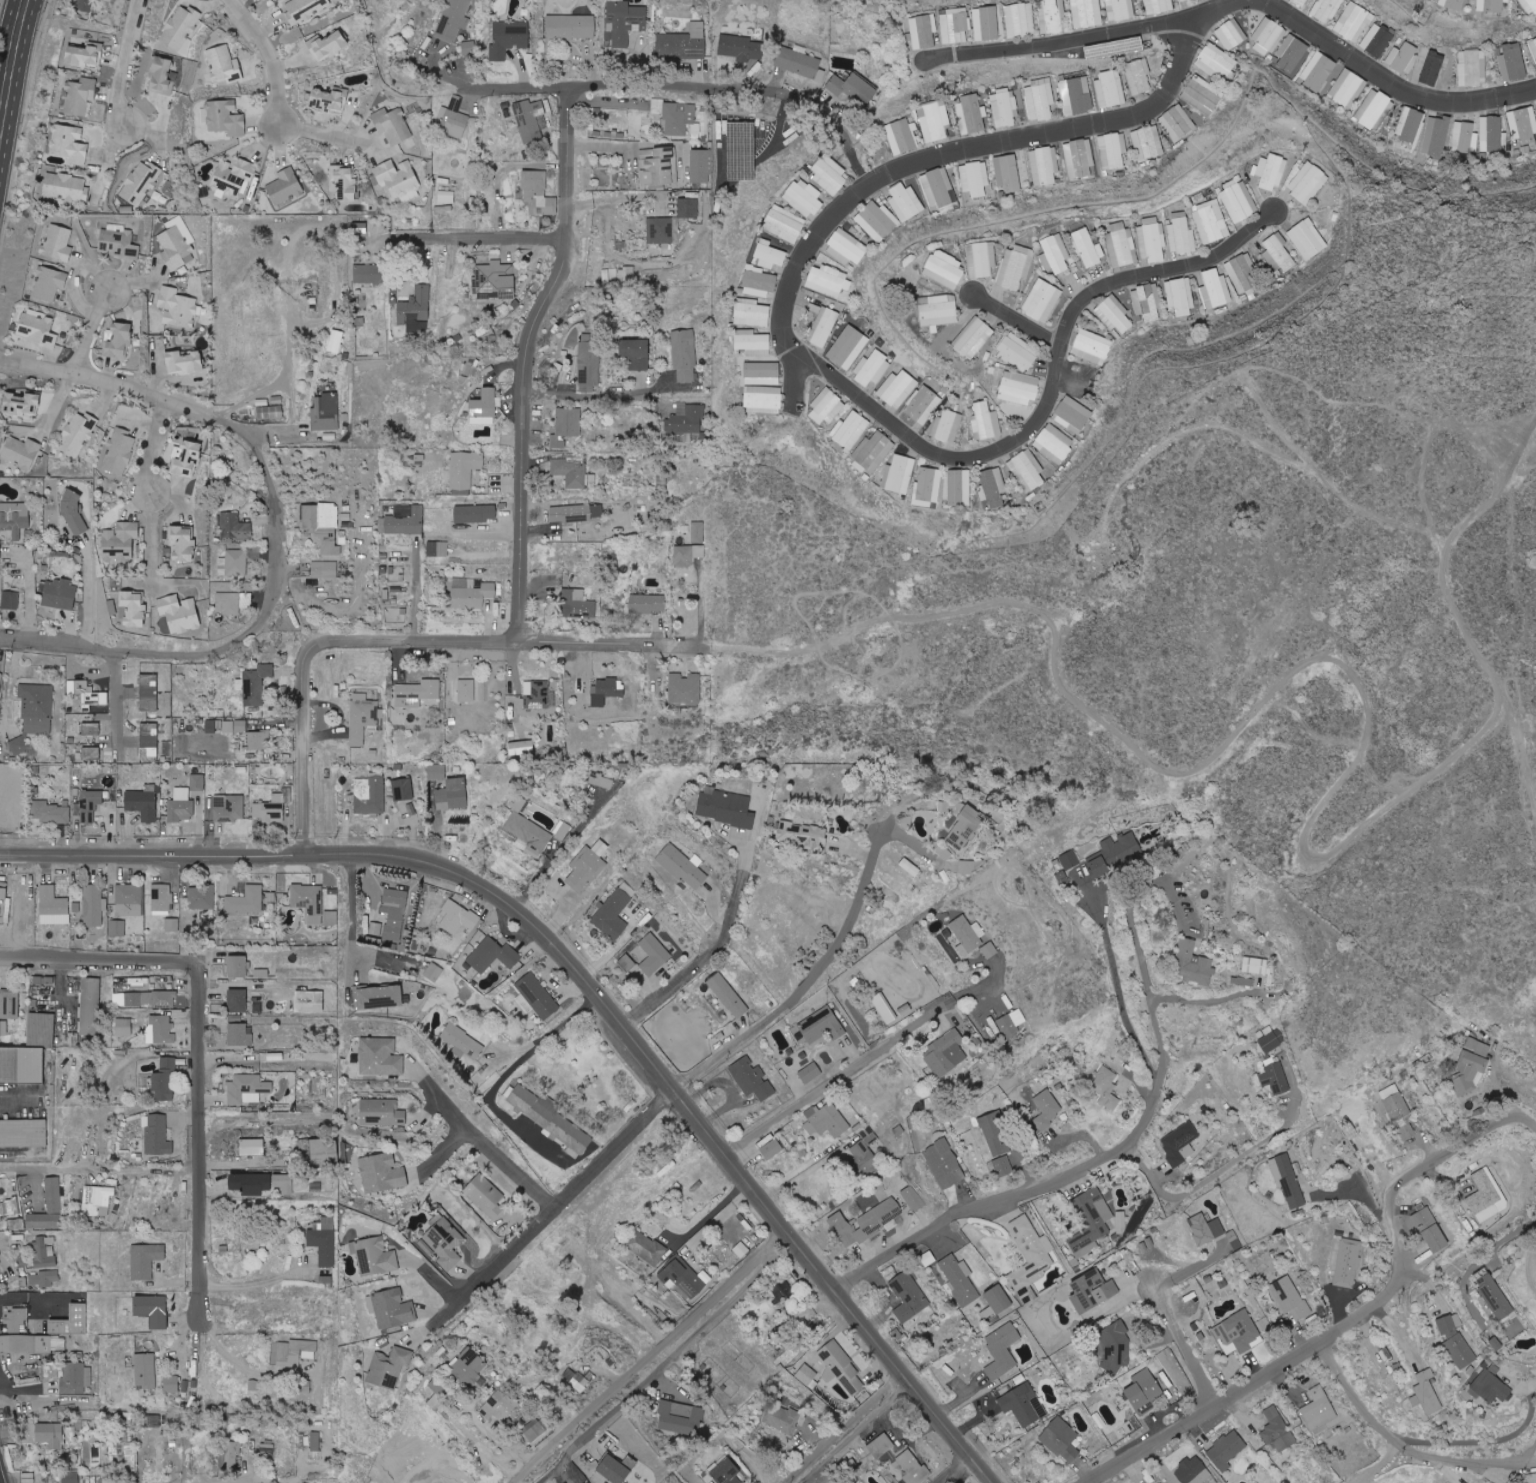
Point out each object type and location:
building: (1180, 0)
building: (1451, 4)
building: (83, 5)
building: (1160, 5)
road: (1238, 6)
building: (1491, 6)
building: (1529, 7)
building: (304, 9)
building: (1121, 9)
building: (1327, 9)
building: (1087, 13)
building: (1053, 16)
building: (454, 19)
building: (1021, 20)
building: (626, 21)
building: (1354, 22)
building: (989, 25)
building: (571, 26)
building: (955, 26)
building: (181, 28)
road: (9, 29)
building: (924, 31)
building: (1231, 34)
building: (1267, 36)
building: (509, 38)
building: (1378, 40)
building: (683, 42)
building: (328, 45)
building: (424, 47)
building: (740, 47)
building: (1533, 47)
building: (469, 48)
building: (1291, 53)
building: (85, 54)
road: (270, 57)
building: (1404, 57)
building: (1215, 61)
building: (1513, 62)
road: (11, 64)
building: (800, 64)
building: (224, 65)
building: (1432, 66)
road: (126, 67)
building: (1473, 68)
building: (1318, 71)
building: (162, 75)
building: (1138, 76)
building: (854, 88)
building: (1110, 88)
building: (1347, 88)
building: (79, 95)
building: (1202, 95)
building: (1077, 96)
road: (650, 98)
building: (329, 99)
building: (1041, 99)
building: (1005, 107)
building: (1374, 110)
building: (972, 114)
building: (674, 116)
building: (226, 118)
building: (453, 118)
building: (529, 118)
building: (935, 120)
building: (1178, 122)
building: (393, 125)
building: (1523, 125)
building: (1491, 134)
road: (327, 135)
building: (903, 136)
building: (1464, 137)
building: (1148, 142)
building: (69, 144)
building: (1112, 150)
building: (742, 151)
building: (1079, 158)
road: (932, 159)
building: (1046, 165)
building: (657, 166)
building: (700, 166)
building: (1272, 172)
building: (1007, 173)
building: (830, 176)
building: (234, 177)
building: (975, 178)
building: (399, 180)
building: (345, 181)
building: (141, 183)
building: (1308, 183)
building: (285, 186)
building: (66, 187)
building: (938, 188)
building: (539, 193)
building: (446, 196)
building: (804, 197)
building: (1239, 201)
building: (905, 202)
building: (688, 208)
building: (446, 210)
building: (877, 221)
building: (1211, 222)
building: (785, 223)
building: (359, 227)
building: (660, 230)
building: (1181, 234)
road: (474, 236)
building: (1308, 239)
building: (118, 242)
building: (58, 243)
building: (177, 243)
building: (848, 245)
building: (1122, 245)
building: (1089, 247)
building: (1055, 253)
building: (770, 254)
building: (1278, 254)
building: (981, 259)
building: (1015, 267)
building: (945, 269)
building: (1242, 273)
building: (368, 274)
building: (495, 280)
building: (828, 281)
building: (760, 282)
building: (49, 283)
building: (1214, 289)
building: (1180, 296)
building: (1042, 300)
building: (1147, 302)
building: (177, 307)
building: (415, 309)
building: (939, 311)
building: (752, 313)
building: (1114, 315)
road: (1018, 319)
building: (824, 326)
building: (38, 328)
road: (97, 333)
building: (974, 338)
building: (119, 340)
building: (337, 340)
building: (753, 343)
building: (848, 347)
building: (1091, 347)
building: (1017, 351)
building: (637, 353)
building: (684, 356)
building: (185, 362)
road: (527, 363)
building: (588, 364)
building: (871, 369)
building: (898, 388)
building: (1019, 388)
road: (1051, 392)
road: (591, 396)
building: (763, 399)
building: (22, 404)
building: (923, 405)
building: (826, 406)
building: (485, 407)
building: (268, 409)
building: (326, 411)
building: (1072, 415)
building: (686, 421)
building: (985, 422)
building: (566, 425)
building: (947, 425)
building: (851, 430)
building: (77, 434)
building: (1054, 443)
road: (152, 445)
building: (119, 451)
building: (22, 452)
building: (872, 452)
building: (188, 458)
building: (464, 468)
building: (1027, 468)
building: (571, 472)
building: (898, 474)
building: (927, 486)
building: (993, 488)
building: (576, 513)
building: (476, 514)
building: (14, 518)
building: (346, 520)
building: (403, 520)
building: (322, 525)
building: (235, 527)
building: (697, 532)
road: (275, 534)
road: (150, 540)
building: (121, 541)
building: (183, 543)
building: (438, 549)
building: (0, 551)
building: (688, 555)
building: (234, 563)
building: (324, 570)
road: (415, 593)
building: (470, 593)
building: (60, 594)
road: (87, 594)
building: (10, 600)
building: (233, 602)
building: (647, 603)
building: (577, 604)
building: (112, 607)
road: (700, 607)
building: (135, 609)
building: (179, 613)
road: (1004, 623)
building: (0, 682)
building: (256, 684)
building: (686, 689)
building: (466, 690)
building: (607, 690)
building: (149, 692)
building: (417, 693)
building: (87, 694)
building: (538, 695)
road: (210, 696)
road: (115, 705)
building: (34, 713)
building: (363, 718)
building: (235, 726)
building: (213, 727)
building: (91, 729)
building: (259, 740)
building: (149, 742)
building: (521, 747)
building: (91, 754)
building: (437, 772)
building: (602, 781)
building: (197, 782)
building: (403, 789)
building: (457, 792)
building: (370, 794)
building: (143, 803)
building: (91, 805)
building: (181, 805)
building: (273, 807)
building: (229, 808)
building: (726, 808)
building: (50, 812)
building: (907, 823)
building: (964, 829)
building: (526, 831)
building: (562, 831)
building: (804, 836)
building: (943, 852)
building: (1115, 854)
building: (1070, 860)
building: (587, 866)
building: (682, 867)
building: (910, 867)
building: (201, 897)
building: (129, 899)
building: (161, 899)
building: (246, 900)
building: (309, 900)
building: (94, 904)
building: (4, 906)
building: (53, 906)
building: (394, 912)
building: (612, 914)
road: (351, 916)
building: (331, 917)
building: (458, 917)
building: (172, 924)
building: (117, 927)
building: (375, 928)
building: (968, 934)
building: (989, 950)
road: (713, 951)
building: (654, 953)
building: (493, 955)
building: (627, 962)
building: (238, 965)
building: (1194, 965)
building: (1254, 965)
building: (434, 971)
building: (261, 972)
road: (805, 983)
building: (42, 985)
road: (588, 990)
building: (728, 995)
building: (379, 996)
building: (535, 996)
building: (146, 998)
road: (1180, 998)
building: (238, 999)
building: (9, 1005)
building: (90, 1006)
road: (1124, 1012)
building: (822, 1025)
building: (994, 1025)
building: (1008, 1025)
building: (124, 1026)
building: (3, 1027)
building: (41, 1028)
building: (161, 1029)
building: (239, 1031)
building: (459, 1042)
building: (1270, 1042)
road: (196, 1045)
building: (1478, 1046)
building: (945, 1053)
building: (275, 1056)
building: (380, 1056)
building: (22, 1064)
road: (861, 1067)
building: (811, 1072)
building: (1470, 1073)
road: (506, 1075)
building: (1275, 1077)
building: (752, 1078)
building: (164, 1079)
building: (1106, 1087)
building: (247, 1088)
road: (16, 1100)
building: (1047, 1104)
building: (382, 1112)
building: (1399, 1113)
building: (550, 1117)
building: (830, 1120)
building: (1348, 1128)
building: (23, 1132)
building: (994, 1133)
building: (157, 1135)
building: (1180, 1143)
building: (304, 1145)
building: (252, 1146)
building: (772, 1148)
building: (324, 1151)
building: (862, 1152)
road: (50, 1164)
building: (944, 1164)
building: (1002, 1165)
road: (506, 1166)
building: (382, 1173)
road: (803, 1176)
road: (1210, 1178)
building: (1288, 1181)
building: (251, 1183)
building: (316, 1186)
building: (485, 1195)
building: (1487, 1196)
building: (913, 1198)
building: (97, 1200)
road: (557, 1202)
road: (974, 1206)
building: (8, 1207)
building: (49, 1207)
road: (707, 1216)
building: (1091, 1218)
building: (866, 1222)
building: (1205, 1228)
building: (1431, 1230)
road: (1507, 1238)
building: (1234, 1239)
building: (324, 1241)
building: (445, 1242)
road: (10, 1243)
building: (646, 1247)
building: (741, 1250)
building: (45, 1251)
building: (375, 1255)
building: (1030, 1256)
building: (928, 1258)
building: (146, 1259)
building: (1347, 1263)
building: (683, 1277)
building: (44, 1278)
building: (959, 1279)
road: (246, 1285)
building: (1092, 1291)
building: (1492, 1293)
building: (908, 1296)
building: (1289, 1298)
road: (27, 1299)
building: (998, 1299)
building: (391, 1308)
building: (153, 1309)
road: (1365, 1310)
building: (987, 1312)
building: (16, 1319)
building: (71, 1321)
building: (0, 1326)
building: (1238, 1333)
building: (1456, 1340)
building: (32, 1343)
road: (1182, 1343)
building: (1116, 1346)
building: (1002, 1350)
road: (182, 1351)
building: (295, 1352)
road: (652, 1357)
road: (240, 1360)
road: (666, 1362)
building: (470, 1365)
building: (389, 1366)
building: (843, 1368)
building: (145, 1370)
building: (808, 1375)
building: (76, 1378)
building: (172, 1384)
road: (27, 1387)
building: (1491, 1387)
building: (1144, 1391)
building: (437, 1393)
building: (1426, 1393)
building: (1023, 1403)
building: (498, 1405)
building: (1318, 1409)
building: (680, 1417)
building: (783, 1417)
building: (1277, 1429)
building: (538, 1431)
building: (51, 1435)
road: (861, 1437)
building: (886, 1438)
building: (1062, 1439)
building: (315, 1441)
building: (267, 1443)
road: (1404, 1443)
building: (1226, 1450)
building: (122, 1454)
building: (233, 1454)
road: (1381, 1464)
building: (617, 1468)
building: (913, 1468)
road: (949, 1468)
building: (728, 1472)
building: (1194, 1472)
building: (70, 1477)
building: (606, 1482)

